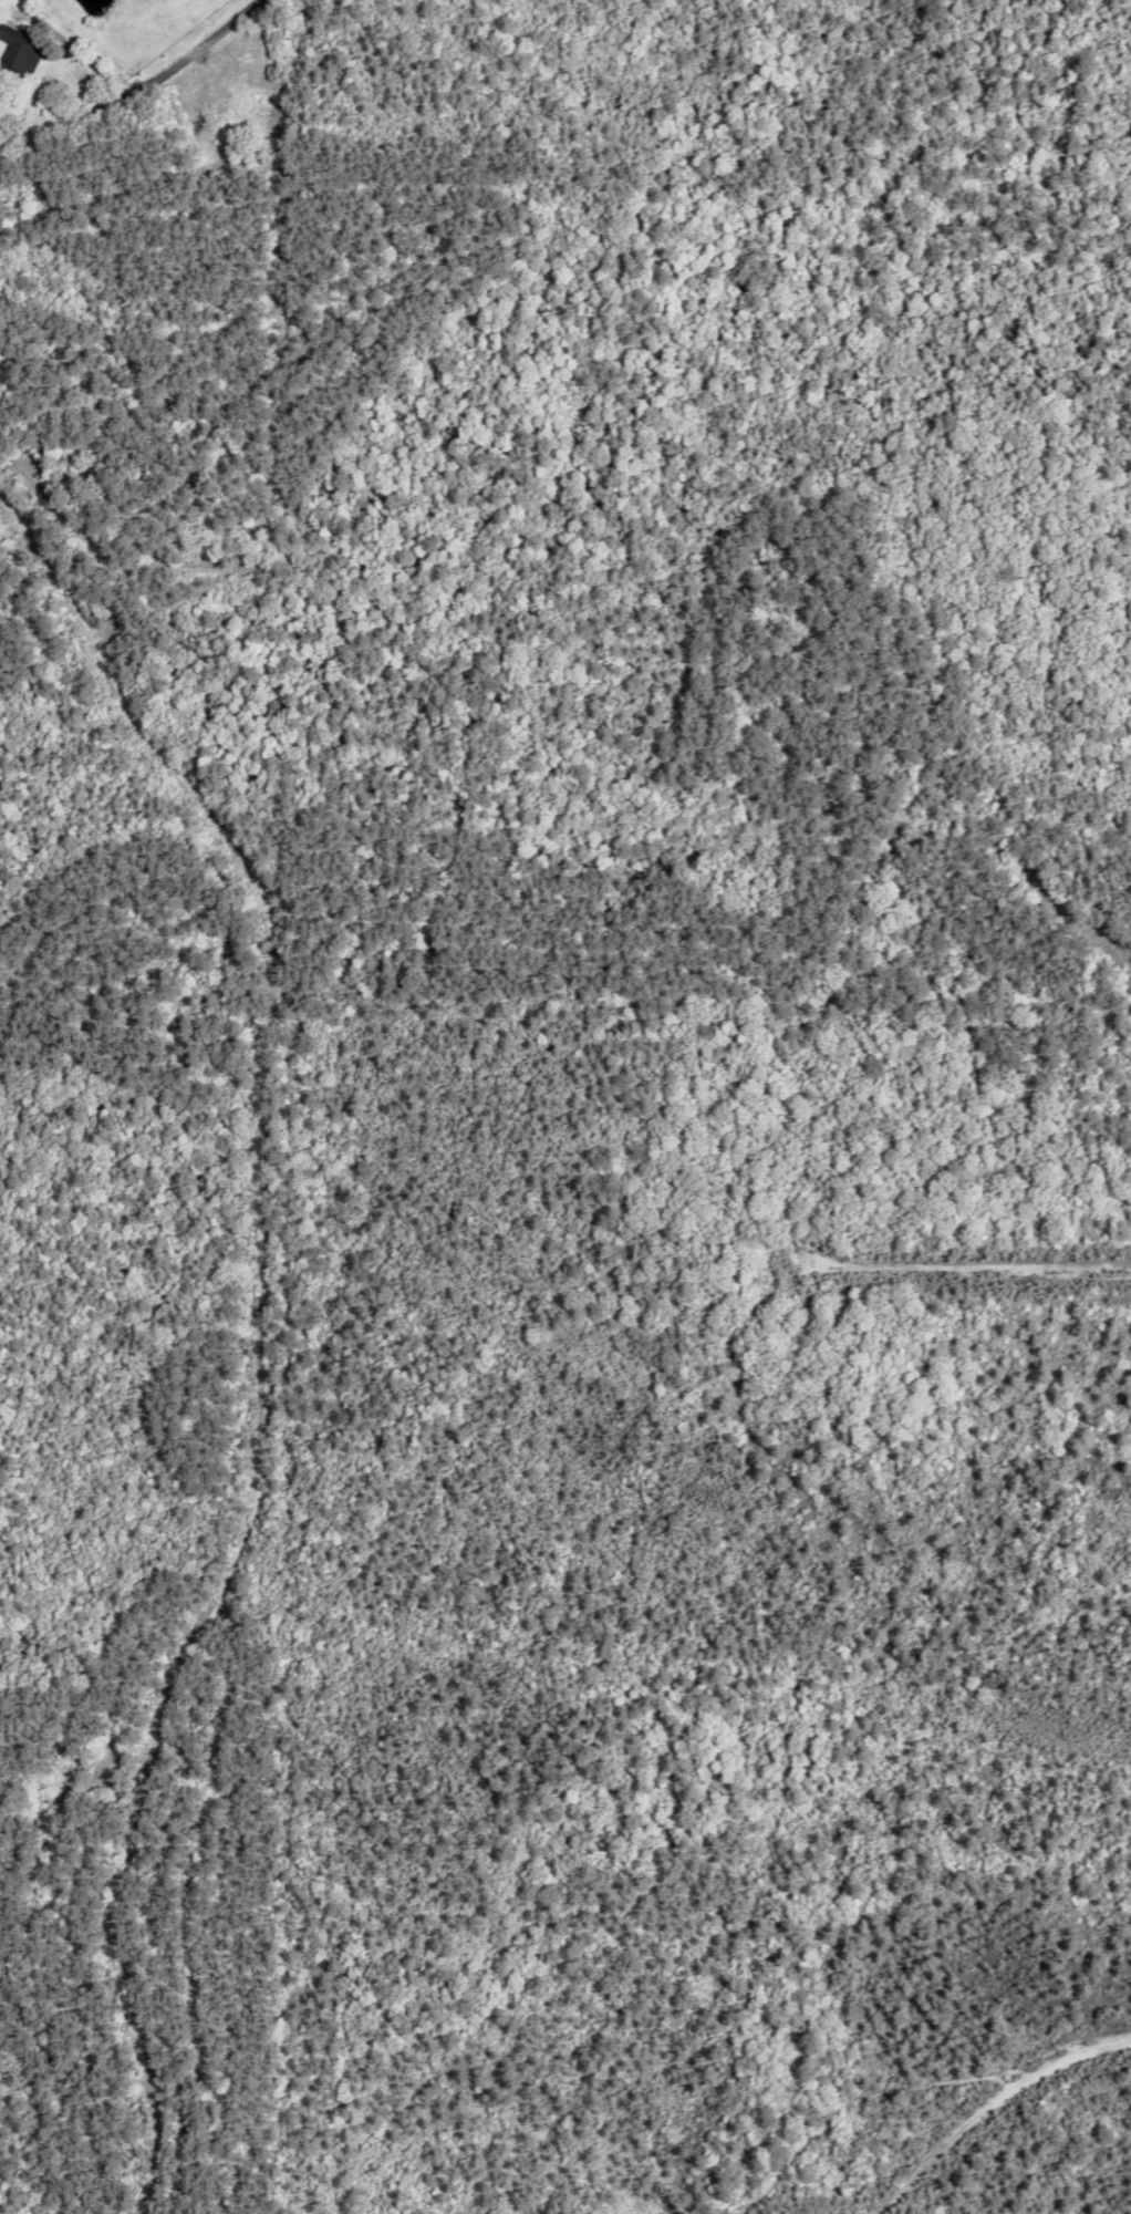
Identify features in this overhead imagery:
road: (200, 50)
building: (22, 52)
building: (242, 105)
building: (216, 118)

